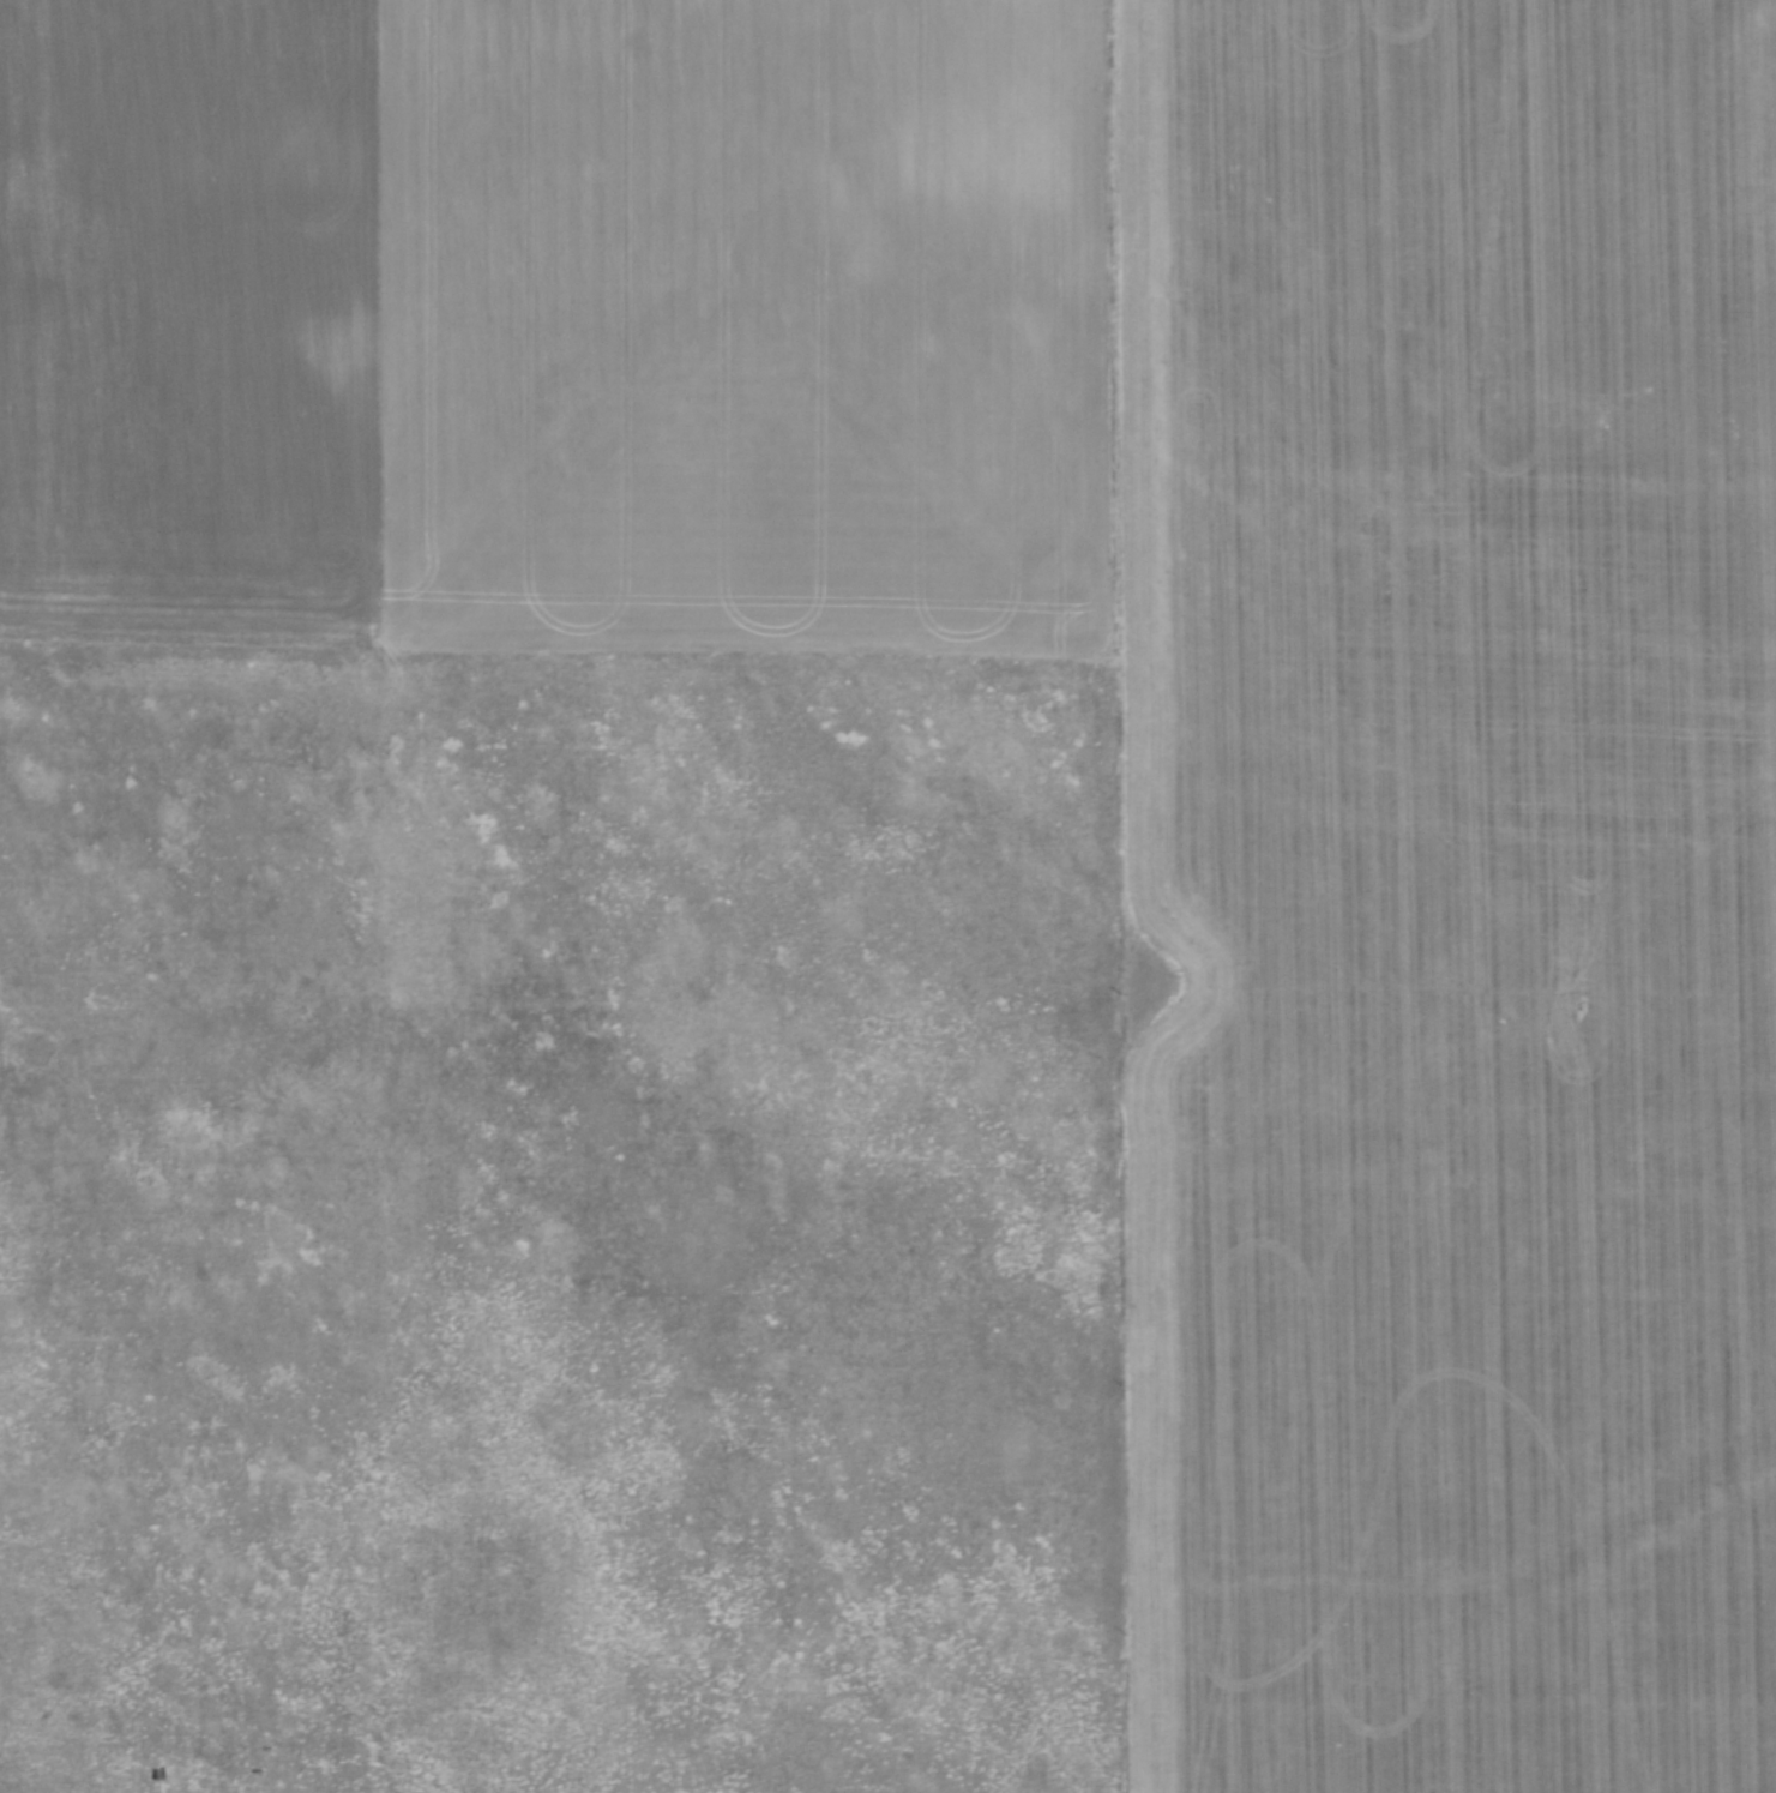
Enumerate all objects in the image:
crop: (887, 896)

